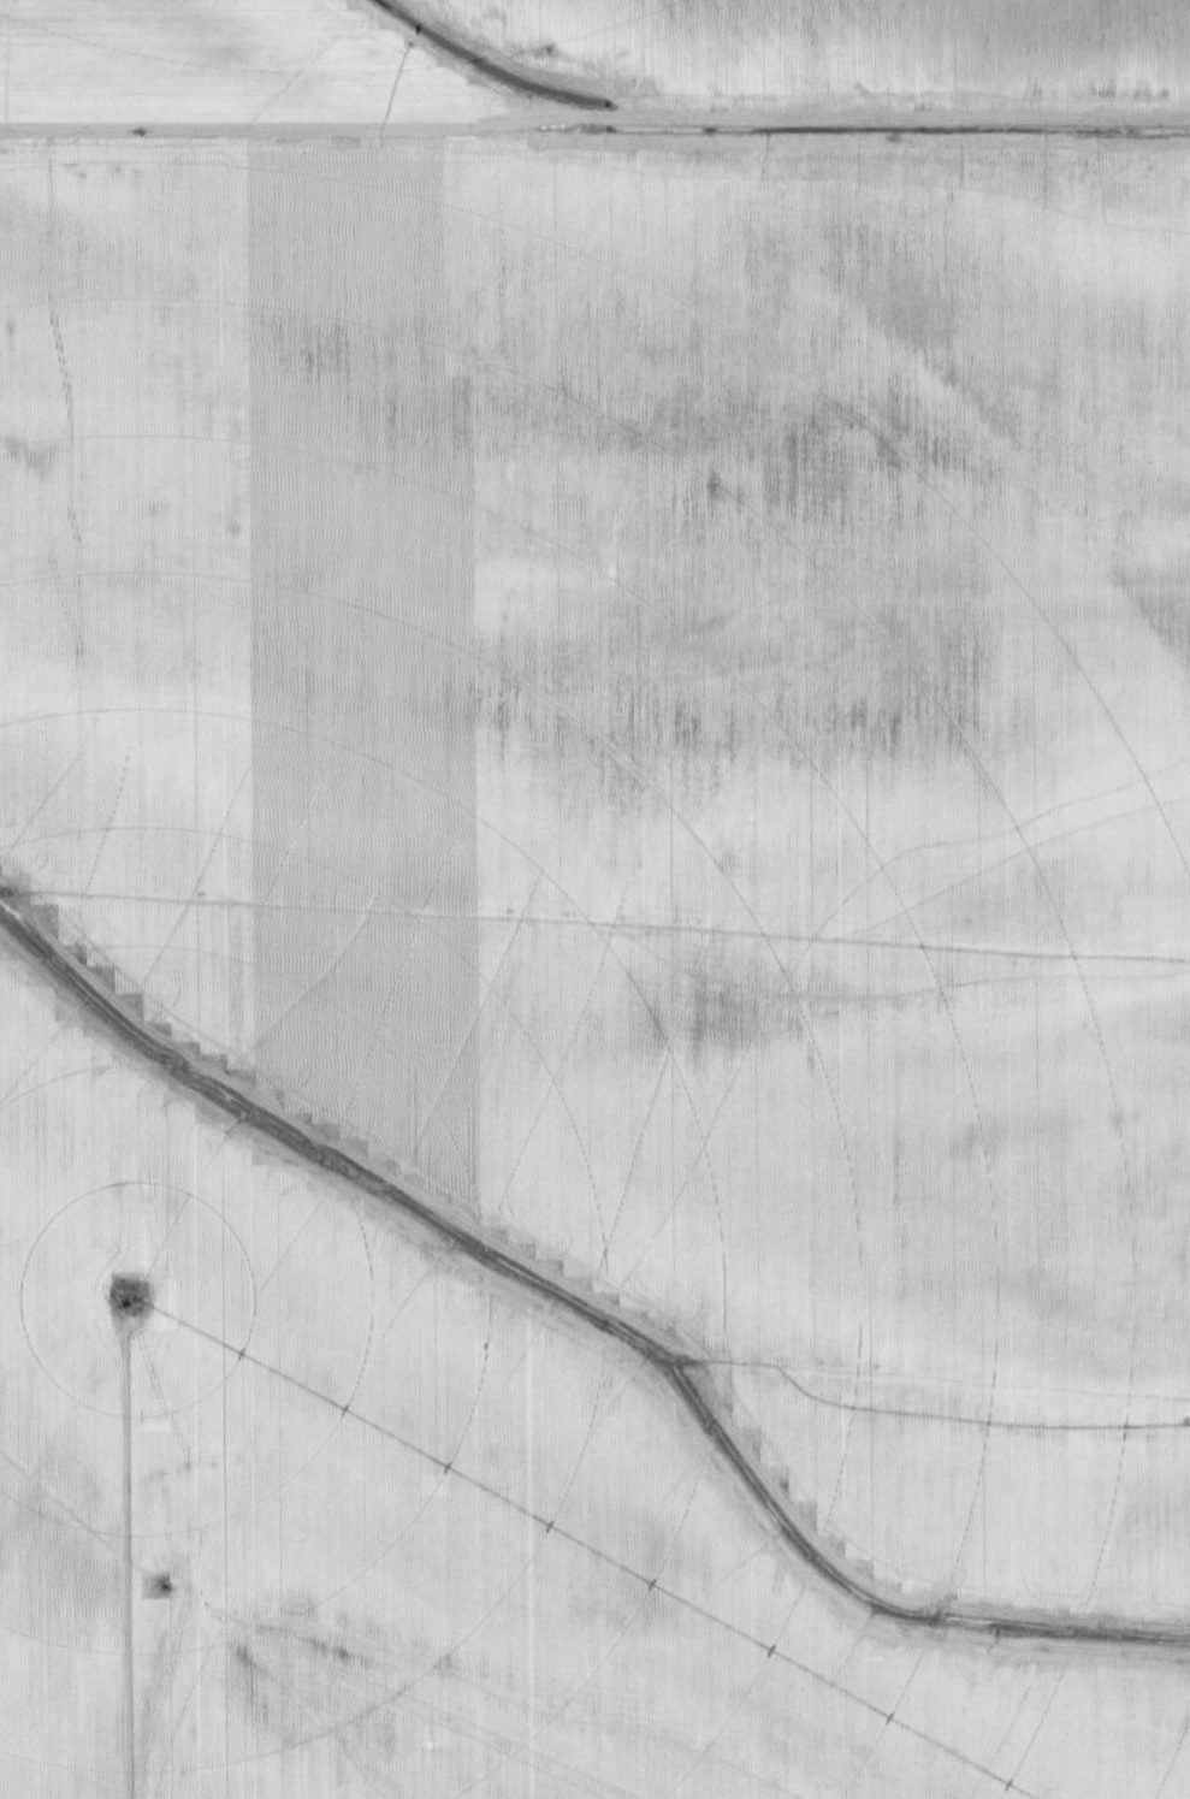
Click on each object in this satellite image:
road: (594, 118)

